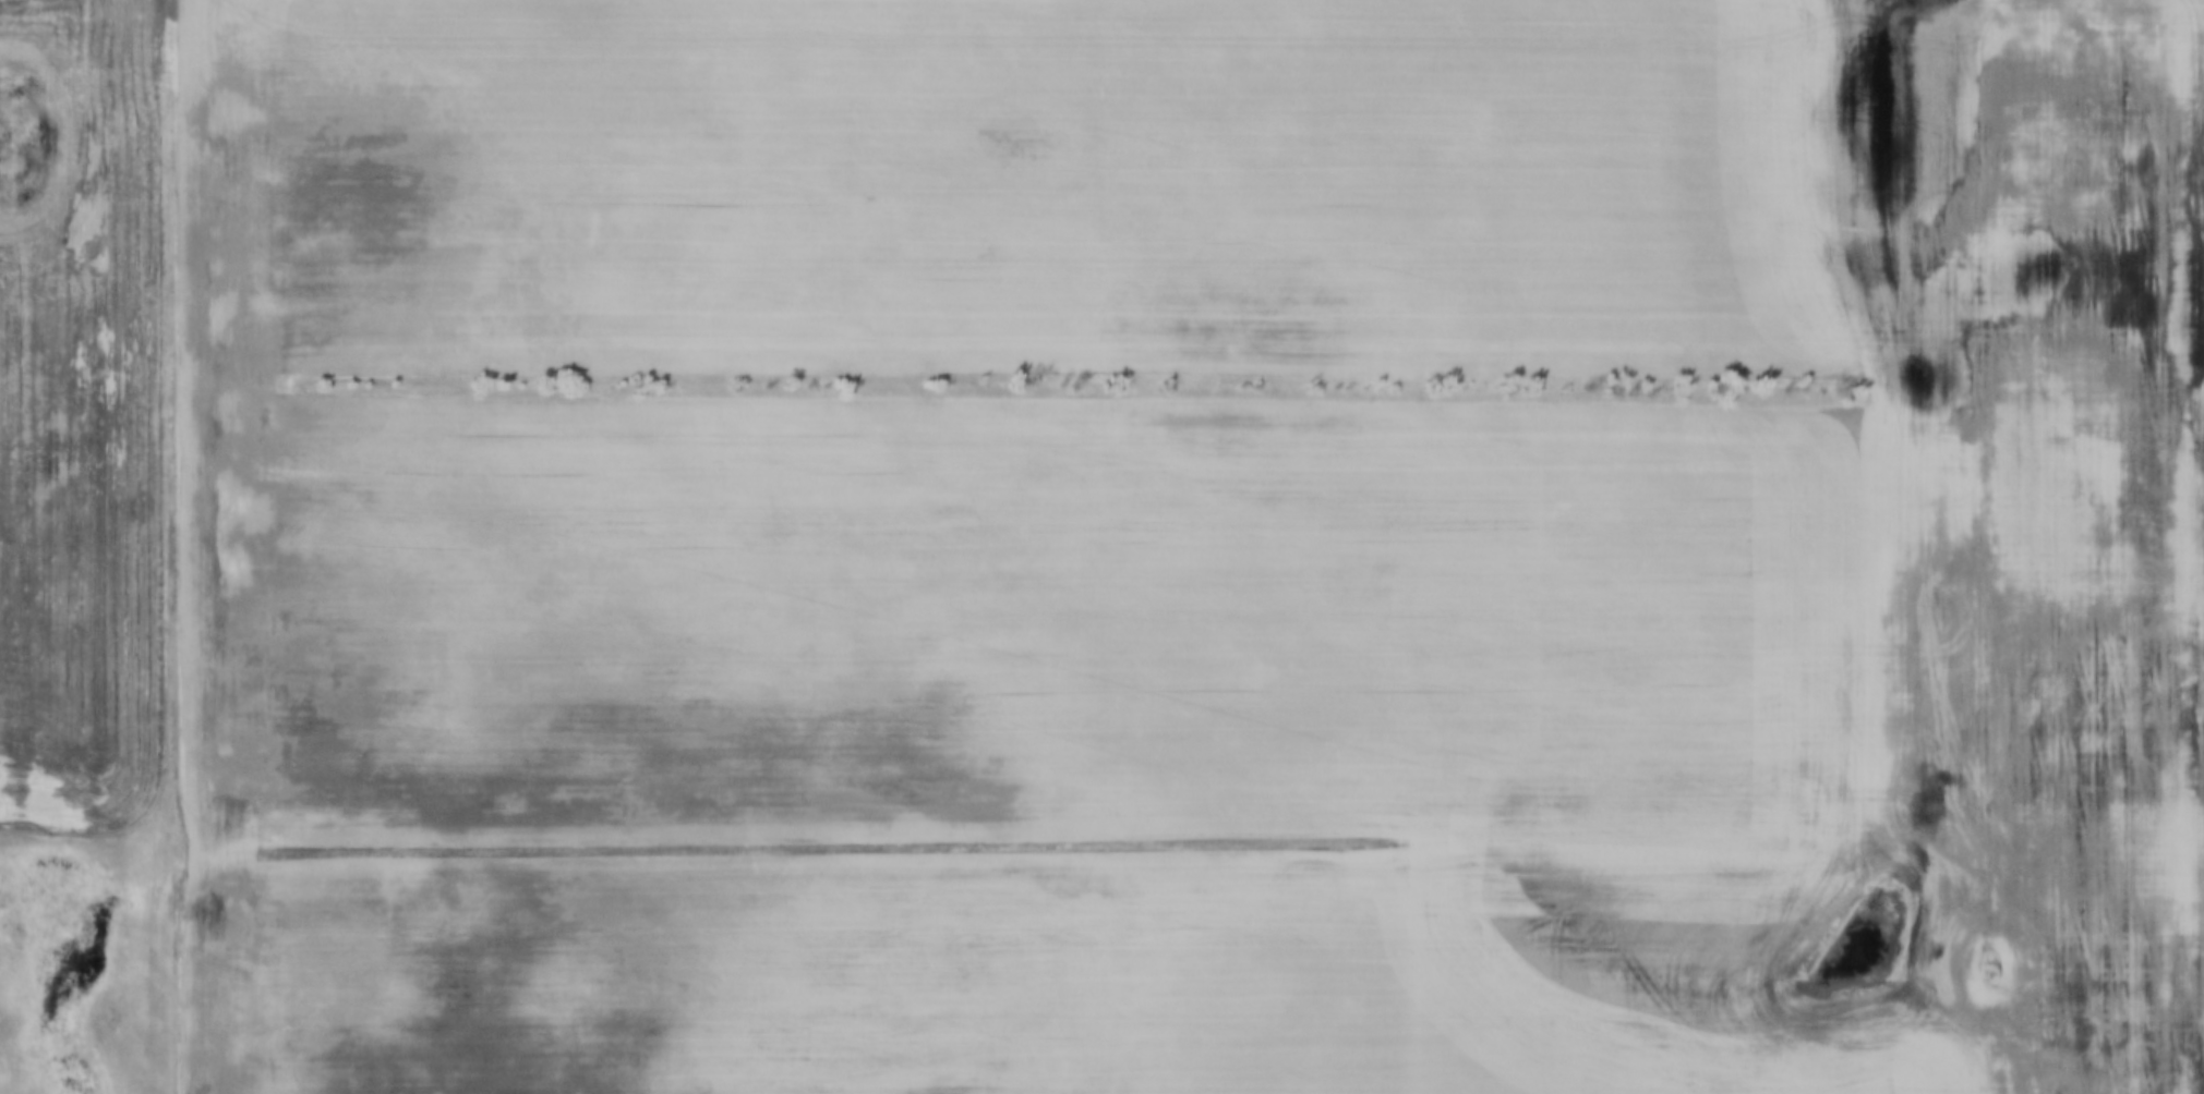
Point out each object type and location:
road: (145, 547)
road: (1896, 573)

